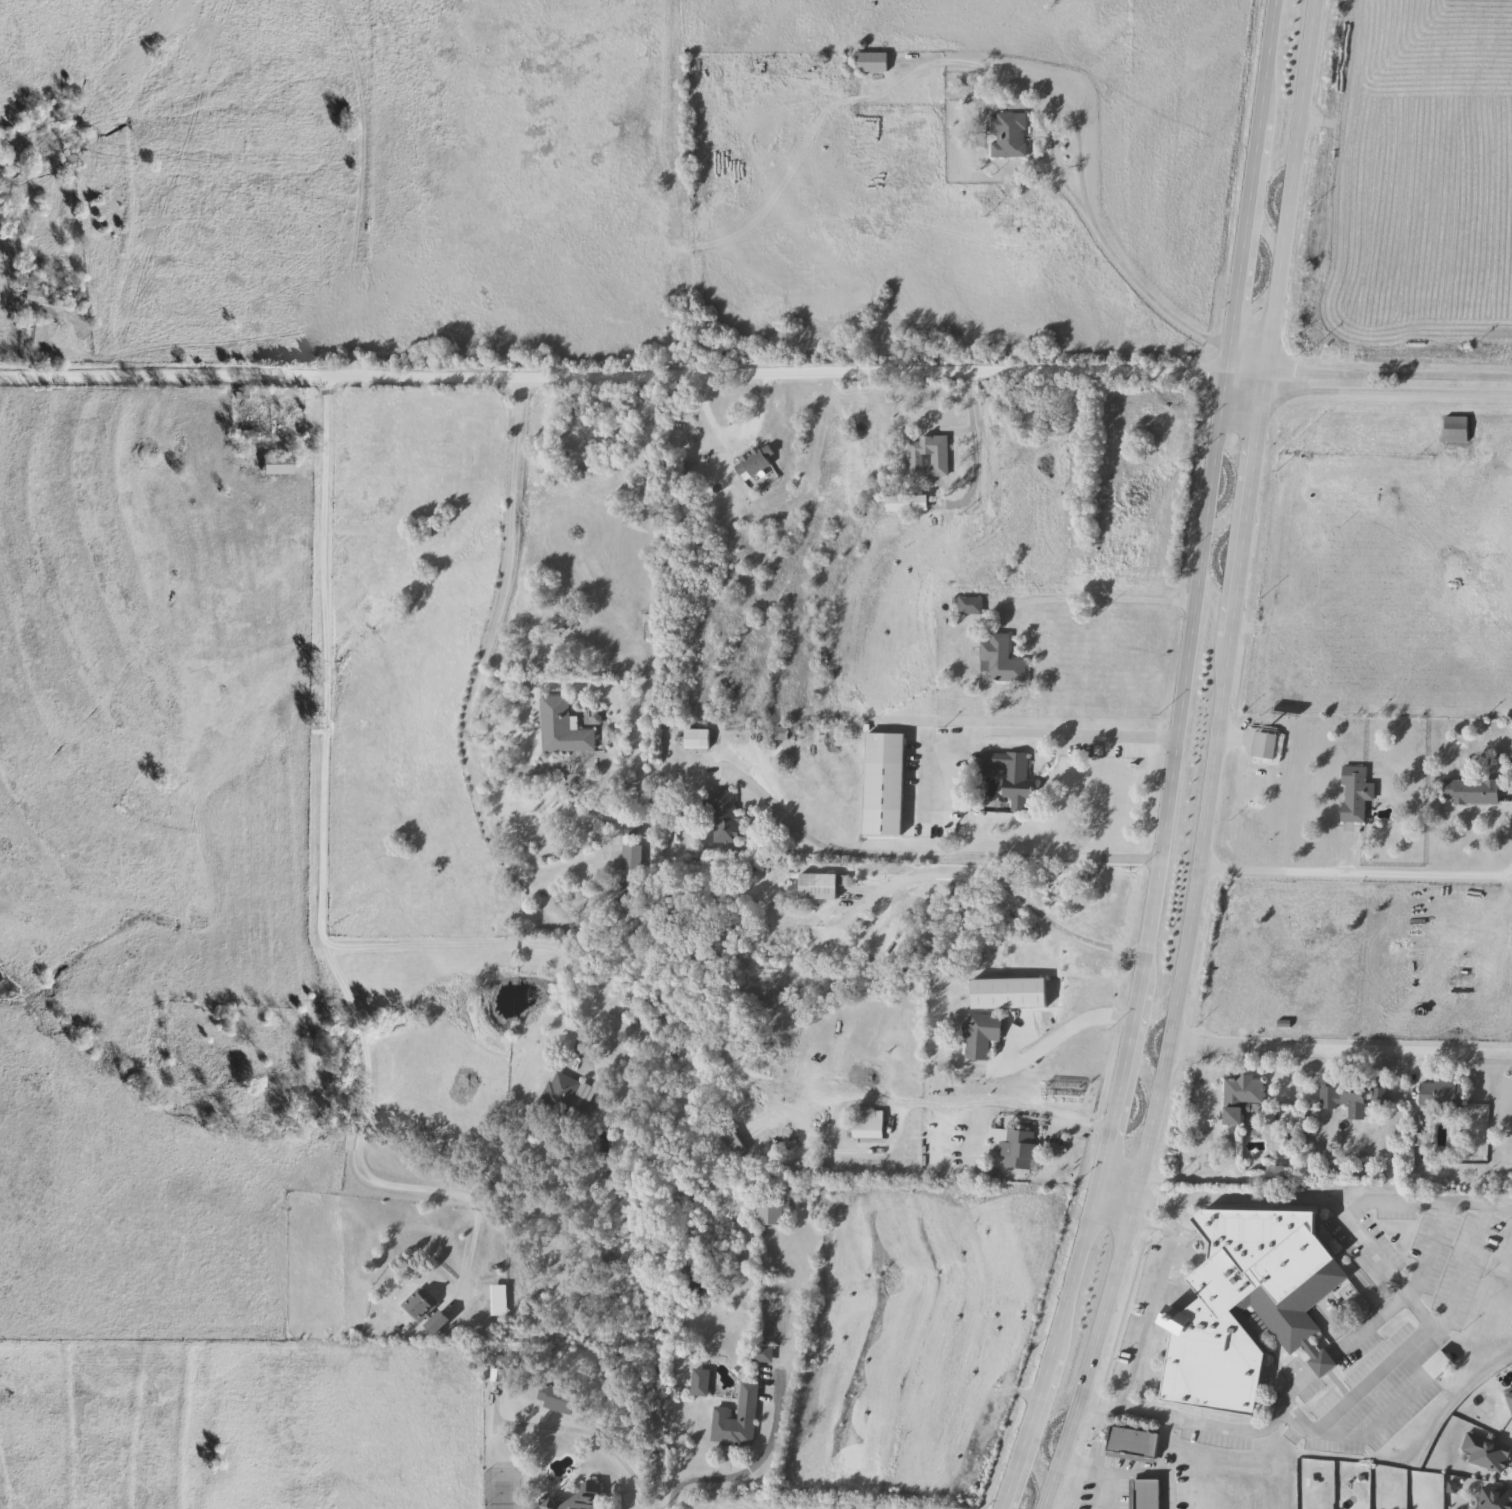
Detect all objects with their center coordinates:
building: (870, 63)
building: (1007, 136)
road: (1113, 260)
road: (1244, 345)
road: (628, 380)
road: (1257, 385)
building: (1455, 430)
road: (969, 440)
building: (927, 457)
building: (754, 462)
building: (276, 465)
building: (905, 505)
road: (1096, 600)
building: (969, 606)
road: (491, 629)
road: (325, 658)
building: (999, 660)
building: (560, 728)
road: (1028, 736)
building: (695, 739)
building: (878, 743)
building: (1264, 746)
building: (1256, 754)
road: (1170, 761)
road: (1211, 762)
building: (1012, 777)
building: (1472, 792)
building: (1346, 796)
building: (722, 818)
building: (628, 828)
road: (928, 857)
building: (630, 876)
road: (1355, 876)
building: (817, 887)
road: (1010, 895)
road: (482, 944)
road: (1056, 1035)
building: (980, 1036)
road: (1339, 1051)
building: (861, 1057)
building: (1063, 1089)
building: (1440, 1094)
building: (564, 1096)
building: (1239, 1098)
building: (1377, 1098)
building: (1343, 1101)
road: (1004, 1103)
building: (869, 1127)
building: (732, 1144)
road: (358, 1148)
building: (1015, 1148)
building: (1274, 1173)
road: (1110, 1202)
building: (772, 1213)
road: (1448, 1301)
building: (416, 1307)
building: (1247, 1307)
road: (1141, 1312)
road: (1419, 1315)
road: (1373, 1320)
building: (436, 1323)
building: (760, 1354)
building: (1437, 1365)
road: (1372, 1378)
building: (699, 1383)
building: (1509, 1397)
building: (555, 1399)
building: (736, 1421)
building: (1132, 1444)
building: (1486, 1453)
road: (577, 1460)
road: (1128, 1470)
road: (732, 1478)
road: (1088, 1490)
building: (1146, 1495)
building: (580, 1498)
building: (1495, 1498)

